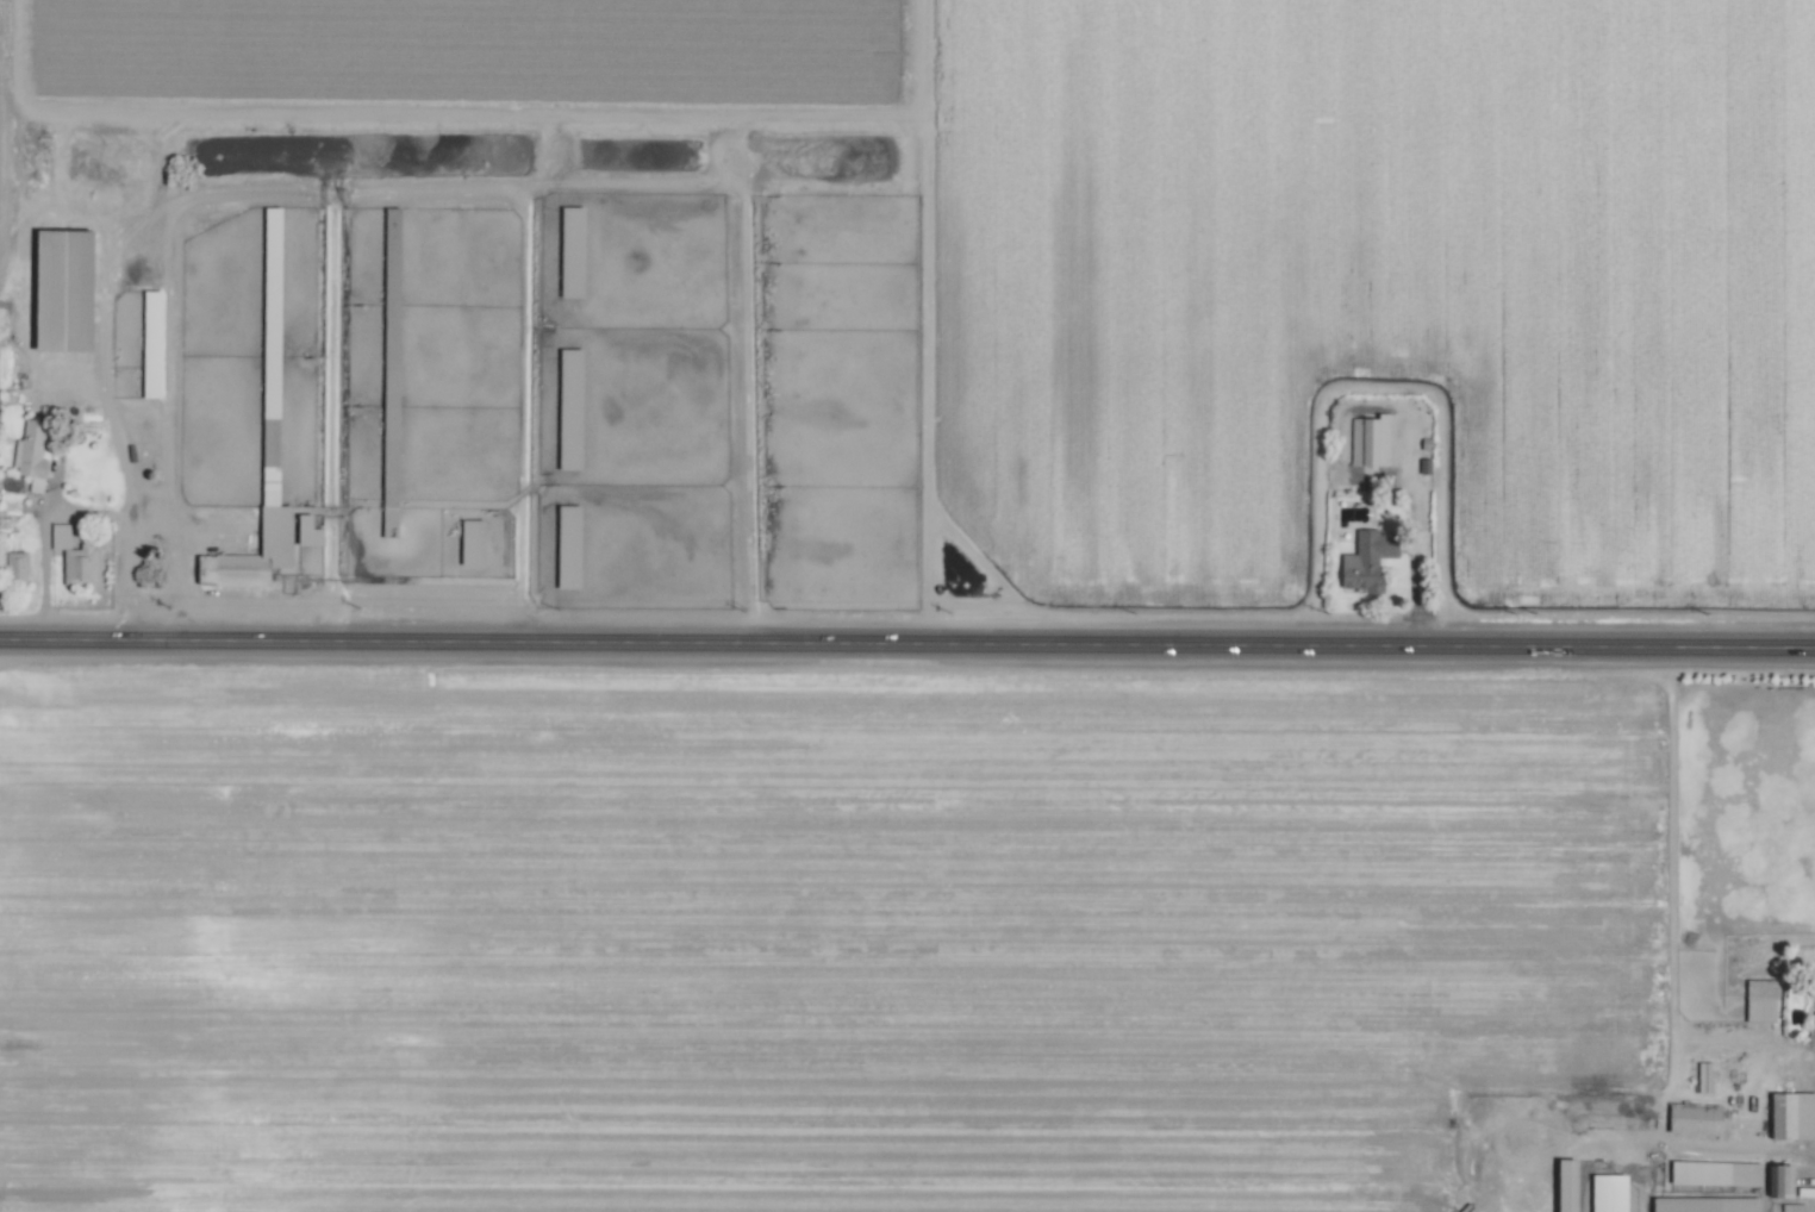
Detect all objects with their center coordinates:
road: (930, 321)
crop: (501, 361)
road: (124, 407)
building: (1366, 441)
road: (124, 524)
building: (280, 529)
building: (312, 531)
building: (76, 556)
building: (1371, 558)
building: (18, 567)
road: (48, 567)
crop: (908, 606)
road: (906, 643)
building: (1814, 997)
building: (1755, 1008)
building: (1699, 1076)
building: (1786, 1114)
building: (1690, 1118)
building: (1710, 1173)
building: (1776, 1177)
building: (1558, 1185)
building: (1603, 1192)
building: (1788, 1207)

